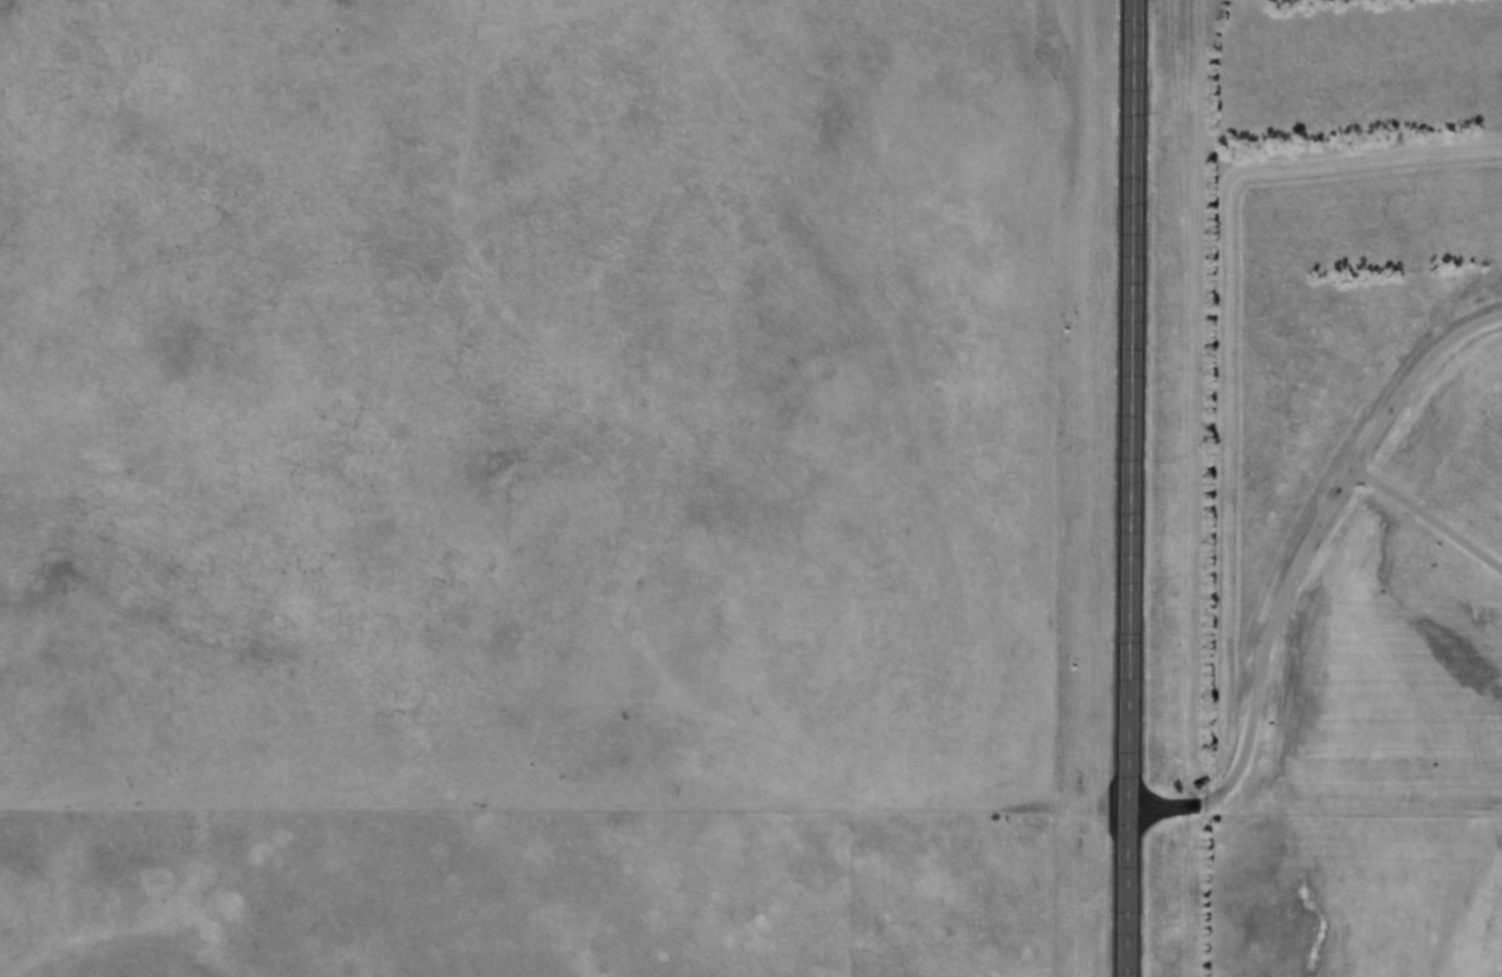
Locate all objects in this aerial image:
road: (1132, 488)
road: (1298, 570)

